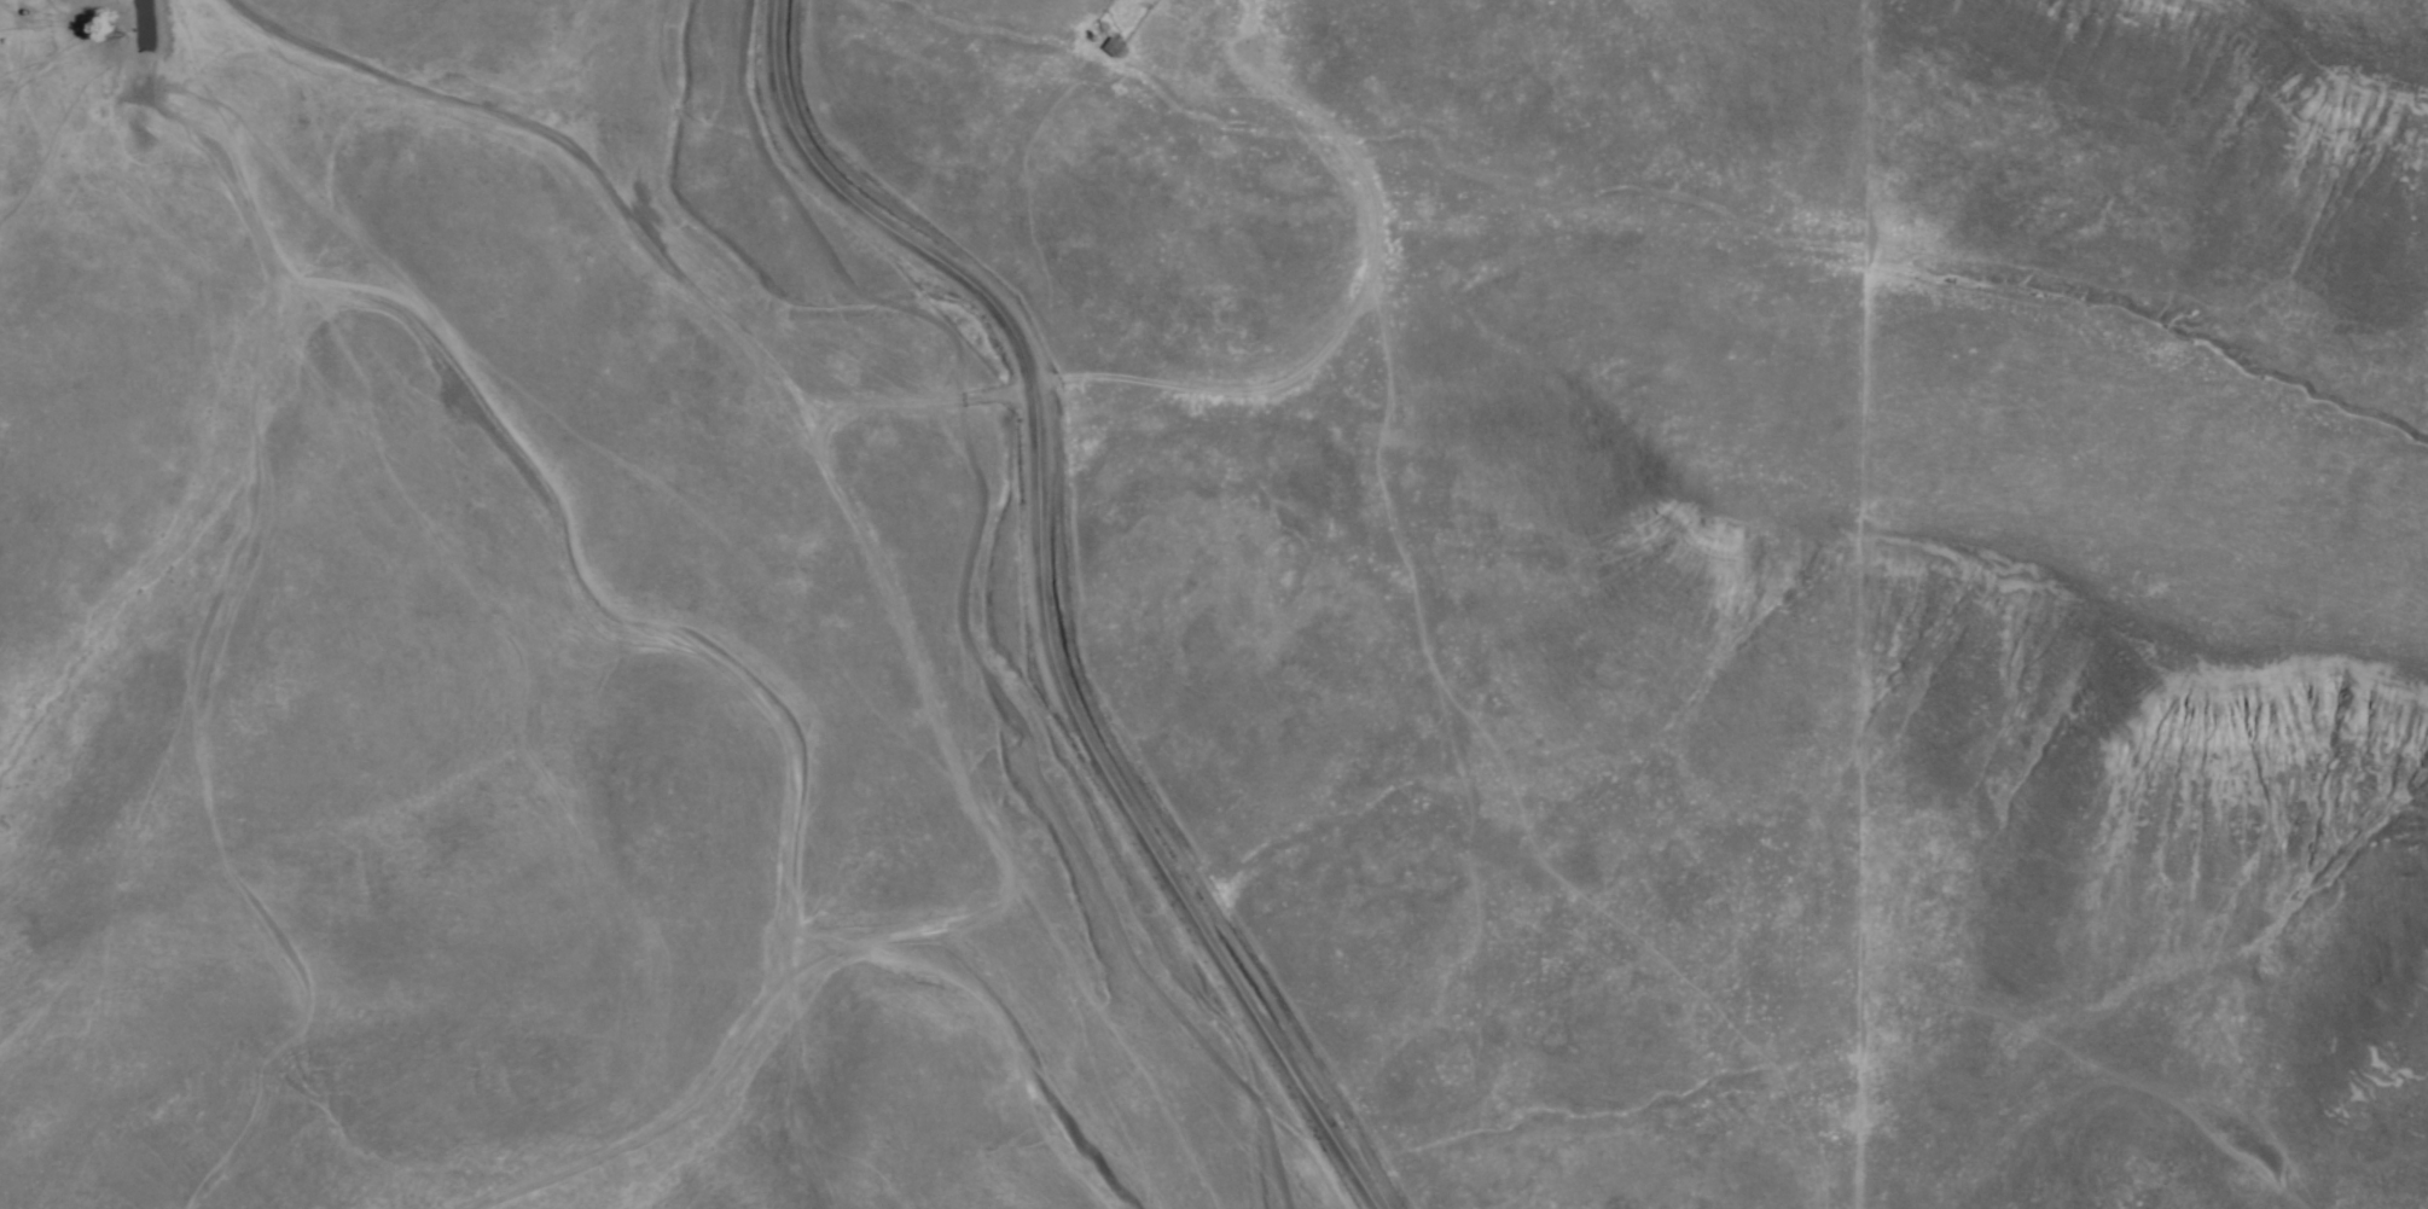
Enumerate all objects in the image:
road: (59, 21)
building: (1114, 50)
road: (641, 231)
road: (1039, 595)

